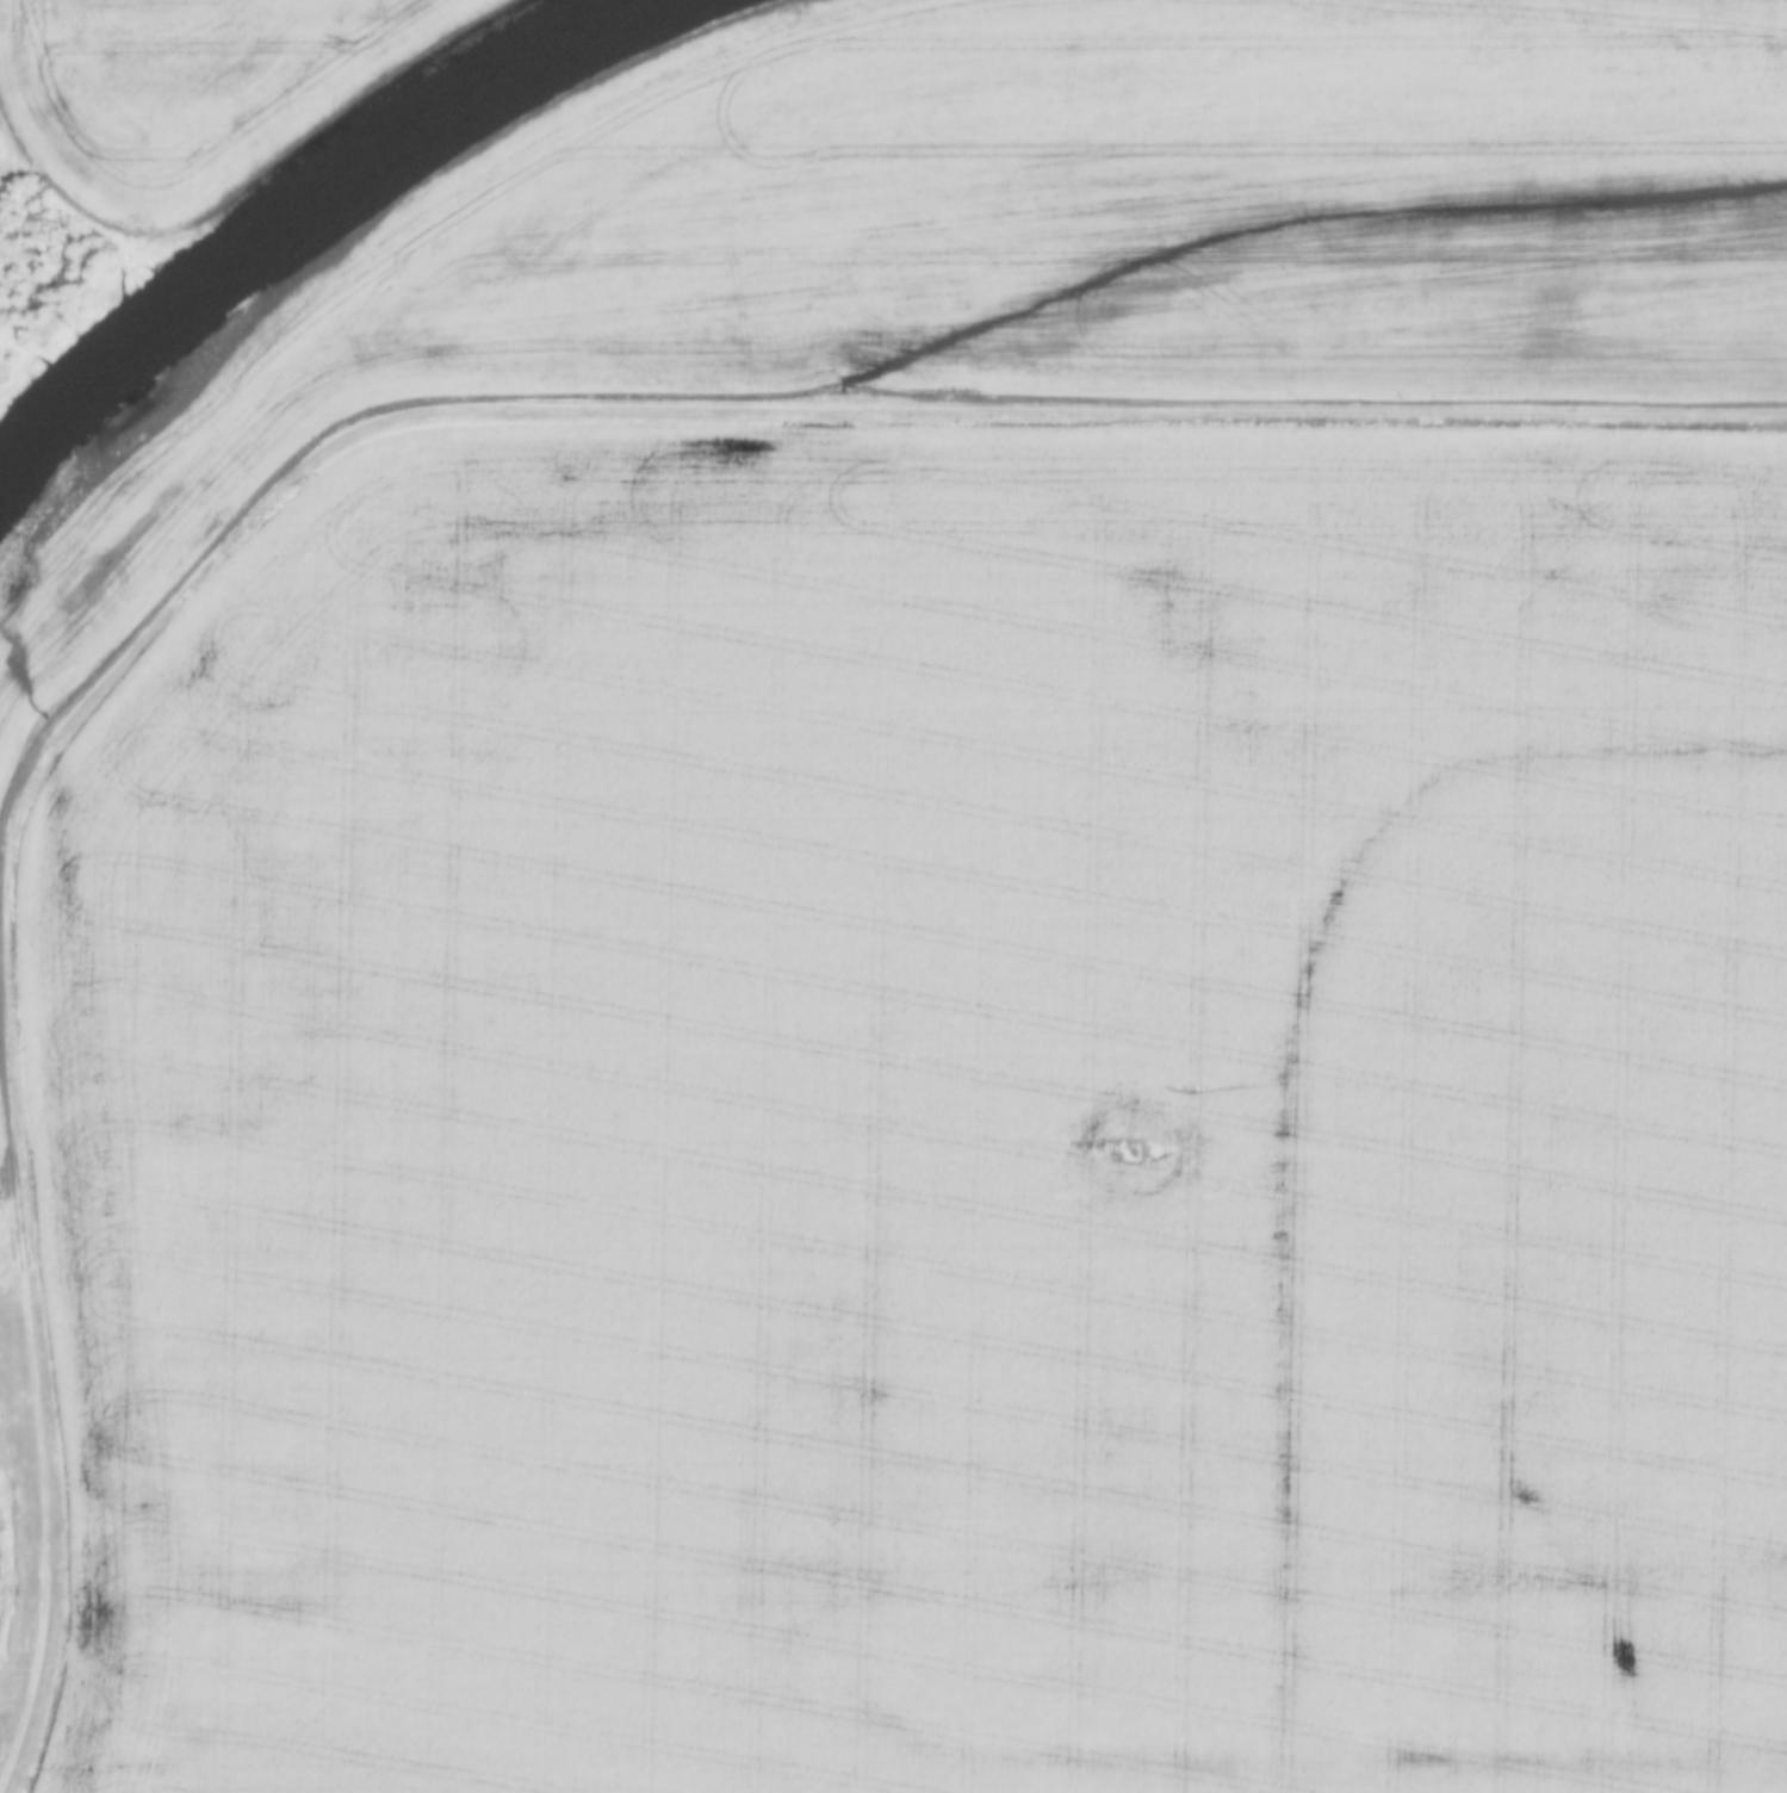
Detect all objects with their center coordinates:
crop: (201, 91)
river: (353, 175)
crop: (1055, 235)
road: (784, 407)
river: (36, 454)
crop: (929, 1121)
road: (32, 1390)

